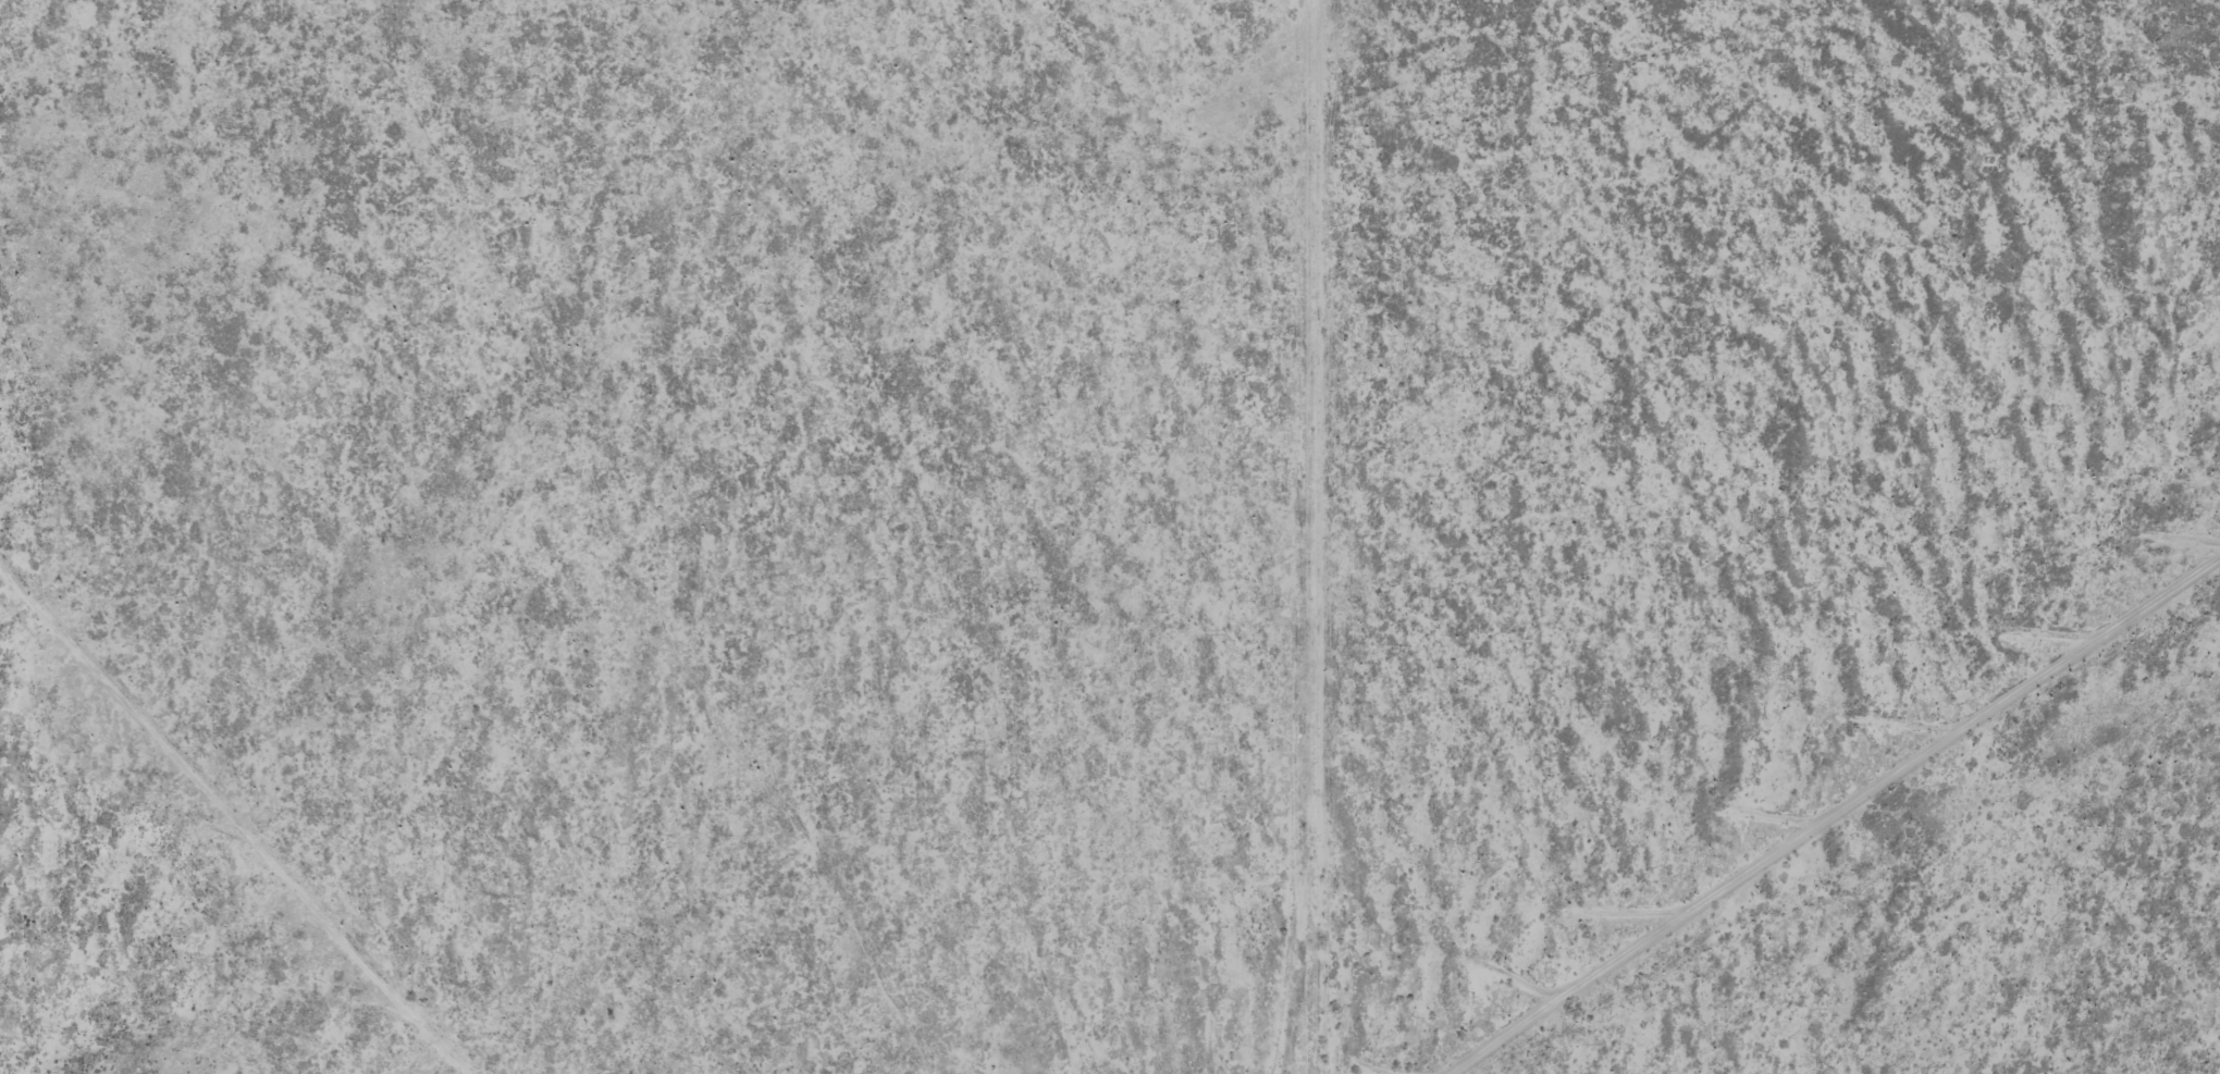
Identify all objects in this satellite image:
road: (1837, 828)
road: (213, 841)

